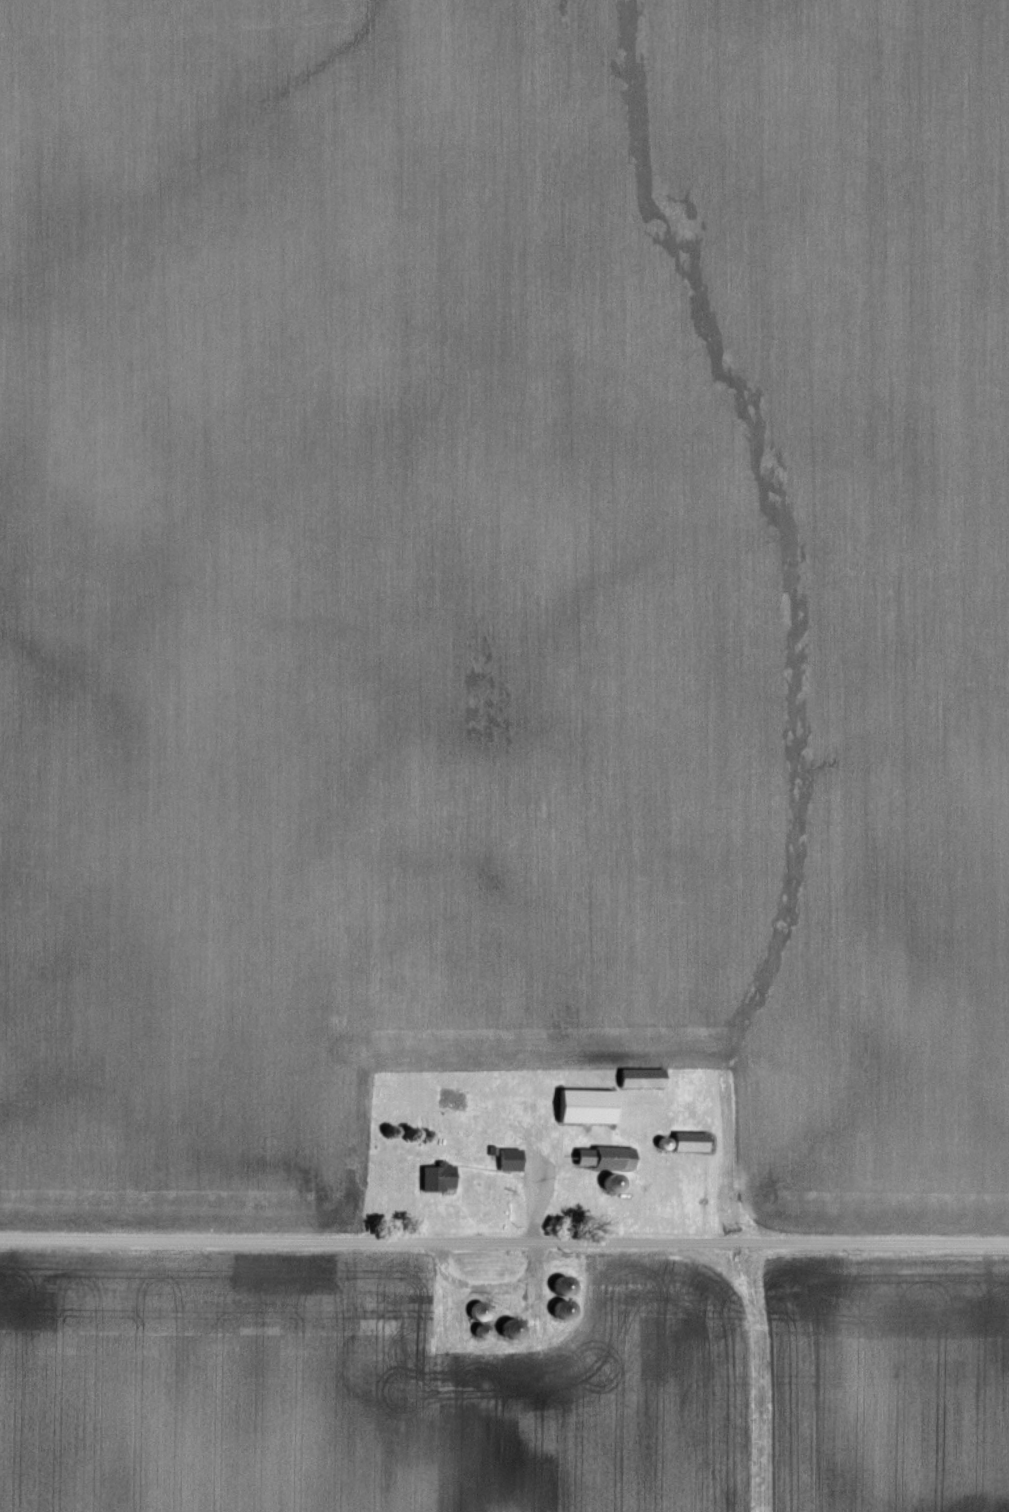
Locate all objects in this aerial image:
building: (643, 1080)
building: (511, 1162)
road: (504, 1244)
road: (534, 1291)

